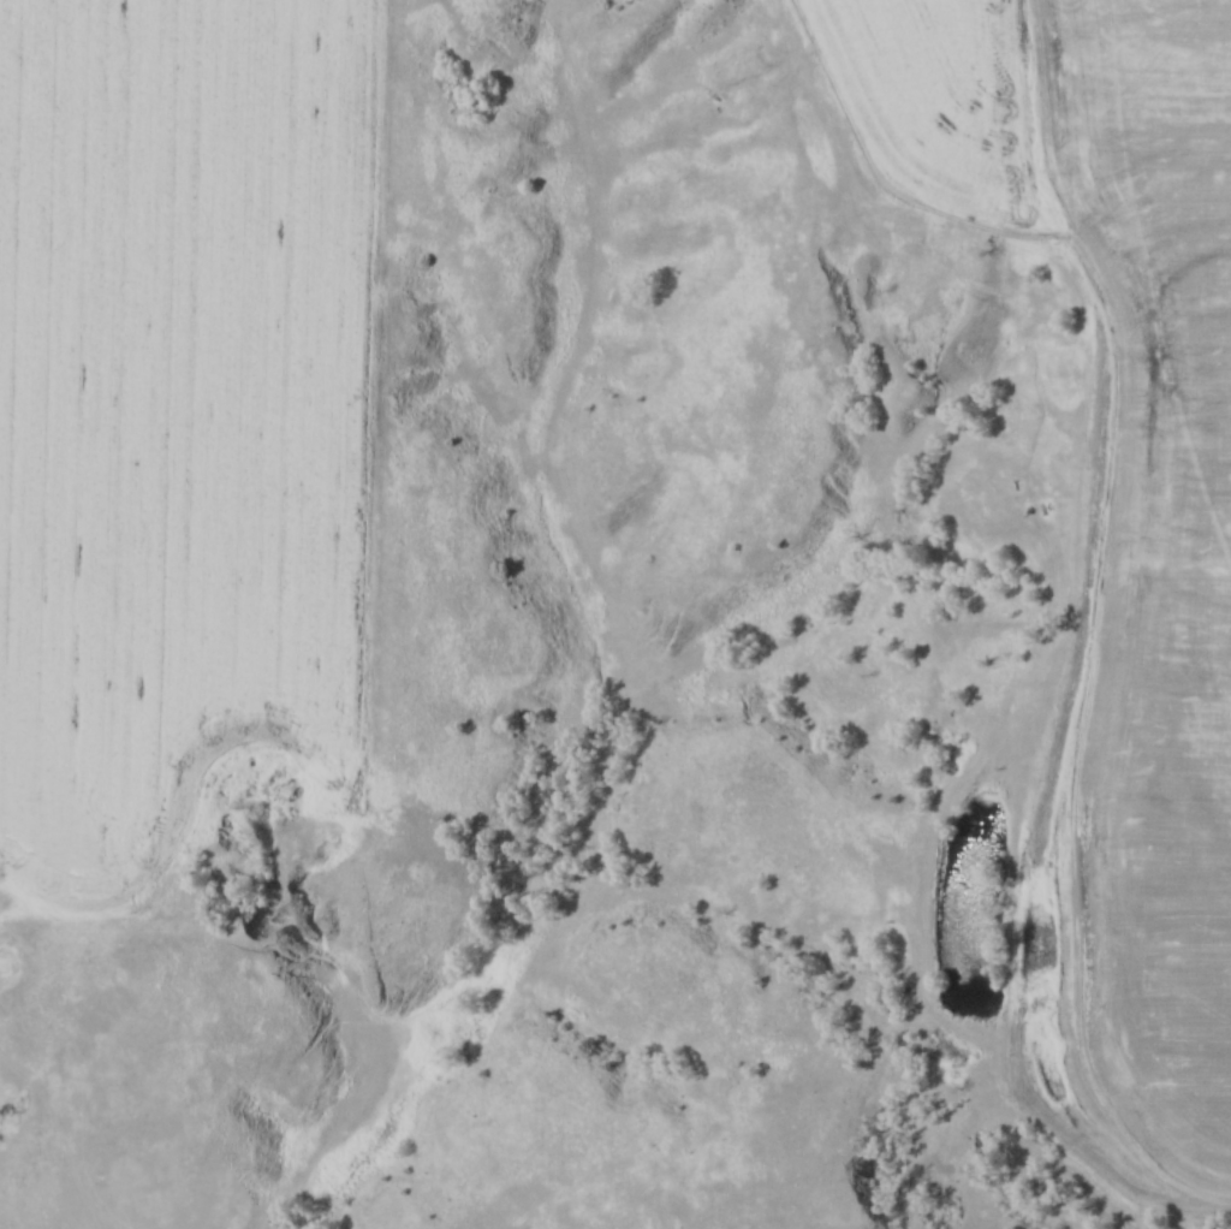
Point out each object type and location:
crop: (944, 100)
crop: (183, 416)

